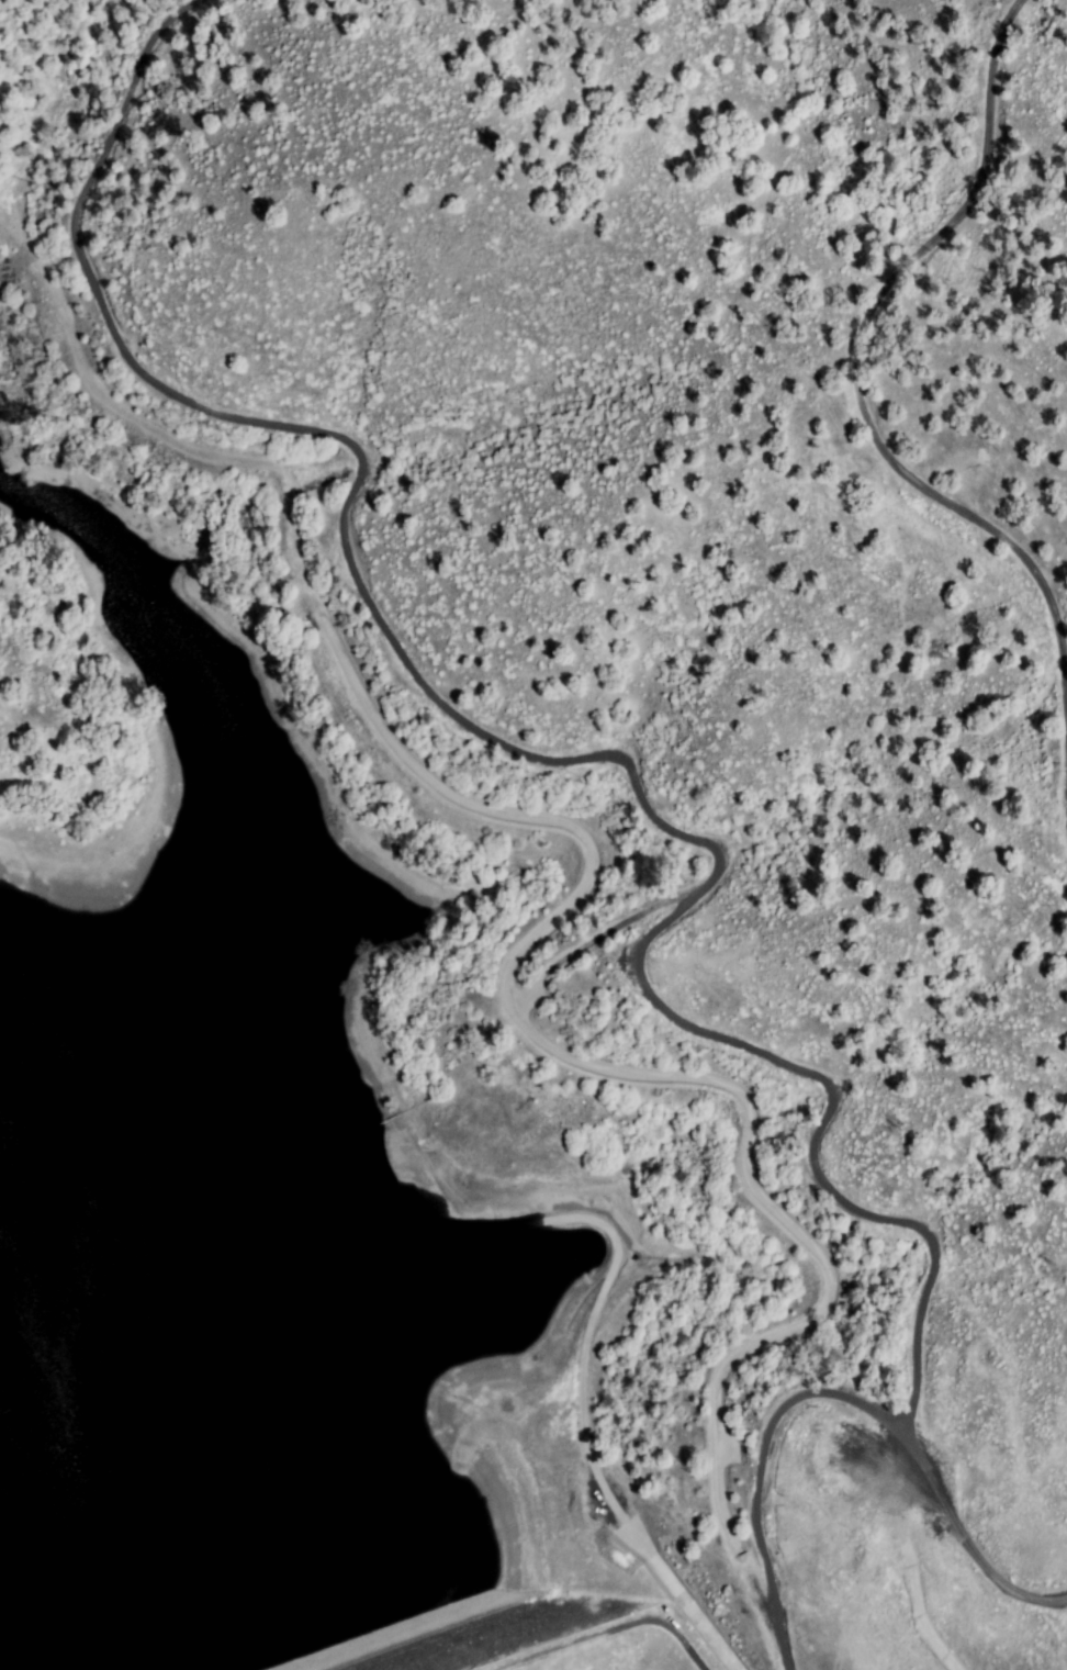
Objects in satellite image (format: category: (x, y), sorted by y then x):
road: (863, 392)
road: (618, 766)
road: (583, 1423)
road: (764, 1461)
road: (599, 1632)
dam: (526, 1637)
road: (699, 1666)

